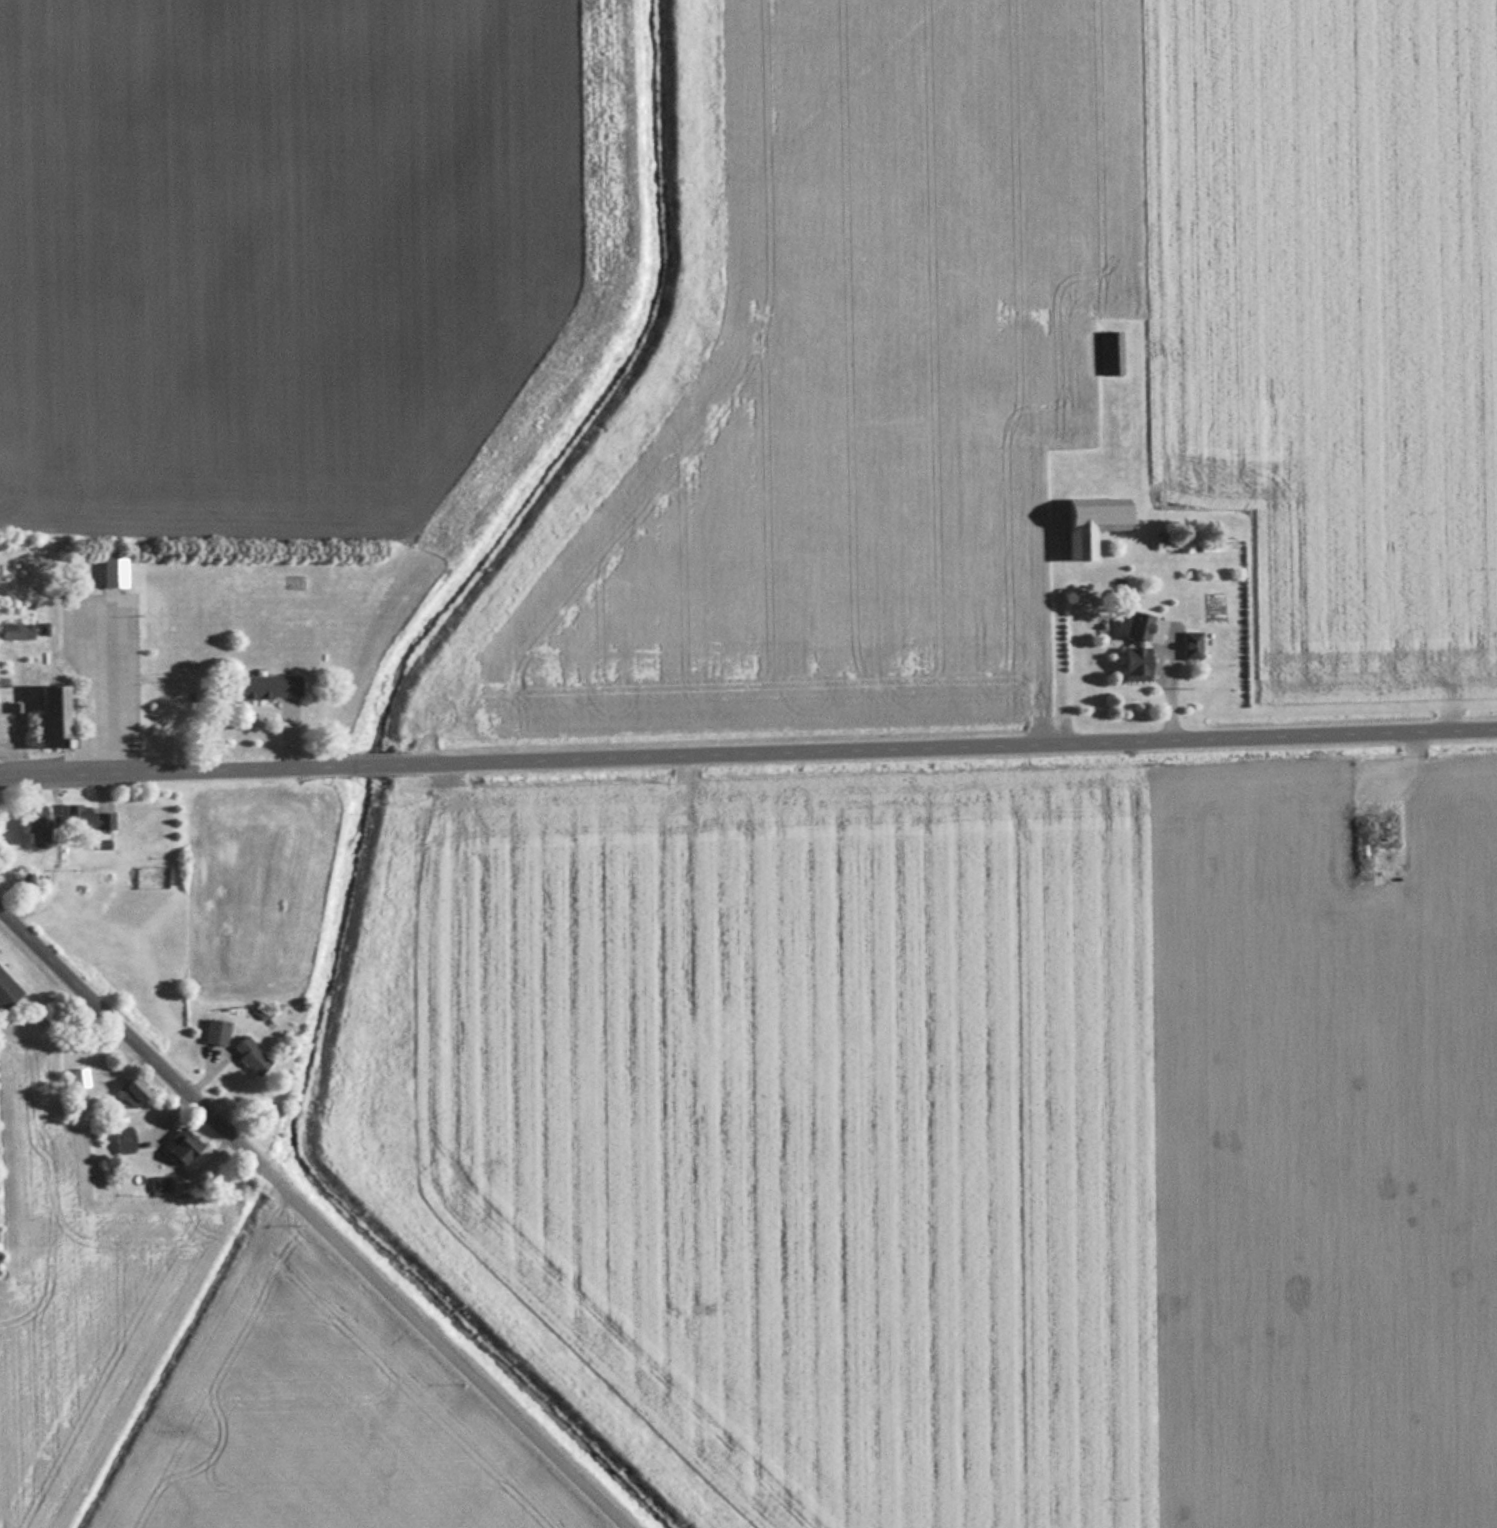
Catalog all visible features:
building: (1107, 351)
building: (1086, 521)
building: (1171, 542)
building: (1130, 623)
building: (5, 630)
building: (1189, 644)
building: (1131, 662)
road: (1166, 679)
building: (265, 685)
building: (48, 714)
road: (947, 747)
road: (373, 764)
road: (174, 769)
building: (85, 818)
building: (32, 824)
building: (1369, 840)
building: (100, 843)
building: (23, 883)
building: (6, 990)
building: (213, 1031)
building: (247, 1055)
building: (77, 1078)
building: (128, 1091)
building: (120, 1139)
building: (178, 1145)
building: (157, 1183)
road: (321, 1216)

